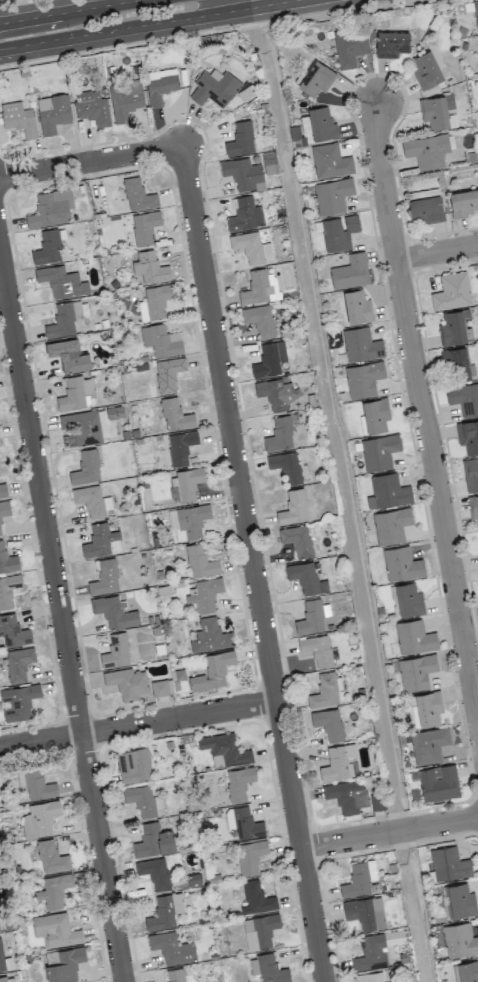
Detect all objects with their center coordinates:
road: (71, 11)
building: (475, 11)
road: (150, 24)
building: (391, 44)
building: (350, 47)
building: (425, 70)
building: (316, 79)
building: (160, 85)
building: (215, 87)
building: (125, 100)
building: (92, 107)
building: (436, 111)
building: (52, 113)
building: (18, 118)
building: (321, 123)
building: (240, 139)
building: (427, 150)
building: (330, 161)
building: (269, 163)
building: (243, 174)
building: (423, 193)
building: (138, 195)
building: (332, 195)
building: (464, 202)
building: (51, 208)
building: (426, 209)
building: (245, 215)
building: (144, 226)
building: (338, 232)
building: (47, 248)
building: (251, 248)
road: (437, 253)
building: (148, 269)
building: (350, 272)
building: (61, 282)
building: (260, 287)
building: (451, 291)
building: (157, 300)
building: (357, 307)
building: (143, 311)
building: (66, 318)
building: (259, 319)
building: (453, 327)
building: (161, 340)
building: (361, 345)
building: (68, 355)
building: (269, 359)
building: (457, 365)
building: (168, 374)
building: (362, 379)
building: (77, 393)
building: (276, 393)
building: (464, 398)
building: (114, 412)
road: (422, 412)
building: (175, 415)
building: (374, 416)
building: (84, 427)
building: (280, 434)
building: (468, 436)
building: (180, 446)
building: (378, 451)
building: (286, 466)
building: (86, 468)
road: (237, 473)
building: (470, 474)
building: (186, 483)
building: (3, 490)
building: (388, 491)
building: (91, 501)
building: (293, 507)
building: (473, 507)
building: (4, 508)
building: (188, 521)
building: (391, 525)
building: (0, 530)
building: (297, 540)
building: (101, 541)
building: (7, 560)
building: (200, 561)
building: (401, 564)
building: (105, 578)
building: (306, 578)
building: (8, 589)
building: (205, 594)
building: (409, 599)
building: (114, 612)
road: (62, 616)
building: (312, 617)
building: (13, 631)
building: (210, 636)
building: (414, 637)
building: (317, 650)
building: (116, 651)
building: (18, 663)
building: (416, 671)
building: (211, 673)
building: (127, 683)
building: (159, 688)
building: (325, 691)
building: (18, 702)
building: (428, 708)
building: (328, 723)
road: (137, 724)
building: (428, 745)
building: (225, 748)
building: (339, 763)
building: (133, 765)
building: (438, 782)
building: (35, 783)
building: (238, 783)
building: (347, 796)
building: (143, 800)
building: (39, 818)
building: (243, 823)
road: (389, 832)
building: (153, 841)
building: (51, 857)
building: (249, 857)
building: (449, 864)
building: (154, 872)
building: (359, 878)
building: (54, 890)
building: (256, 898)
building: (459, 900)
building: (165, 911)
building: (365, 912)
building: (55, 930)
building: (259, 931)
building: (459, 940)
building: (172, 948)
building: (377, 949)
building: (1, 959)
building: (63, 964)
building: (271, 969)
building: (468, 971)
building: (177, 975)
building: (369, 977)
building: (3, 979)
building: (391, 981)

